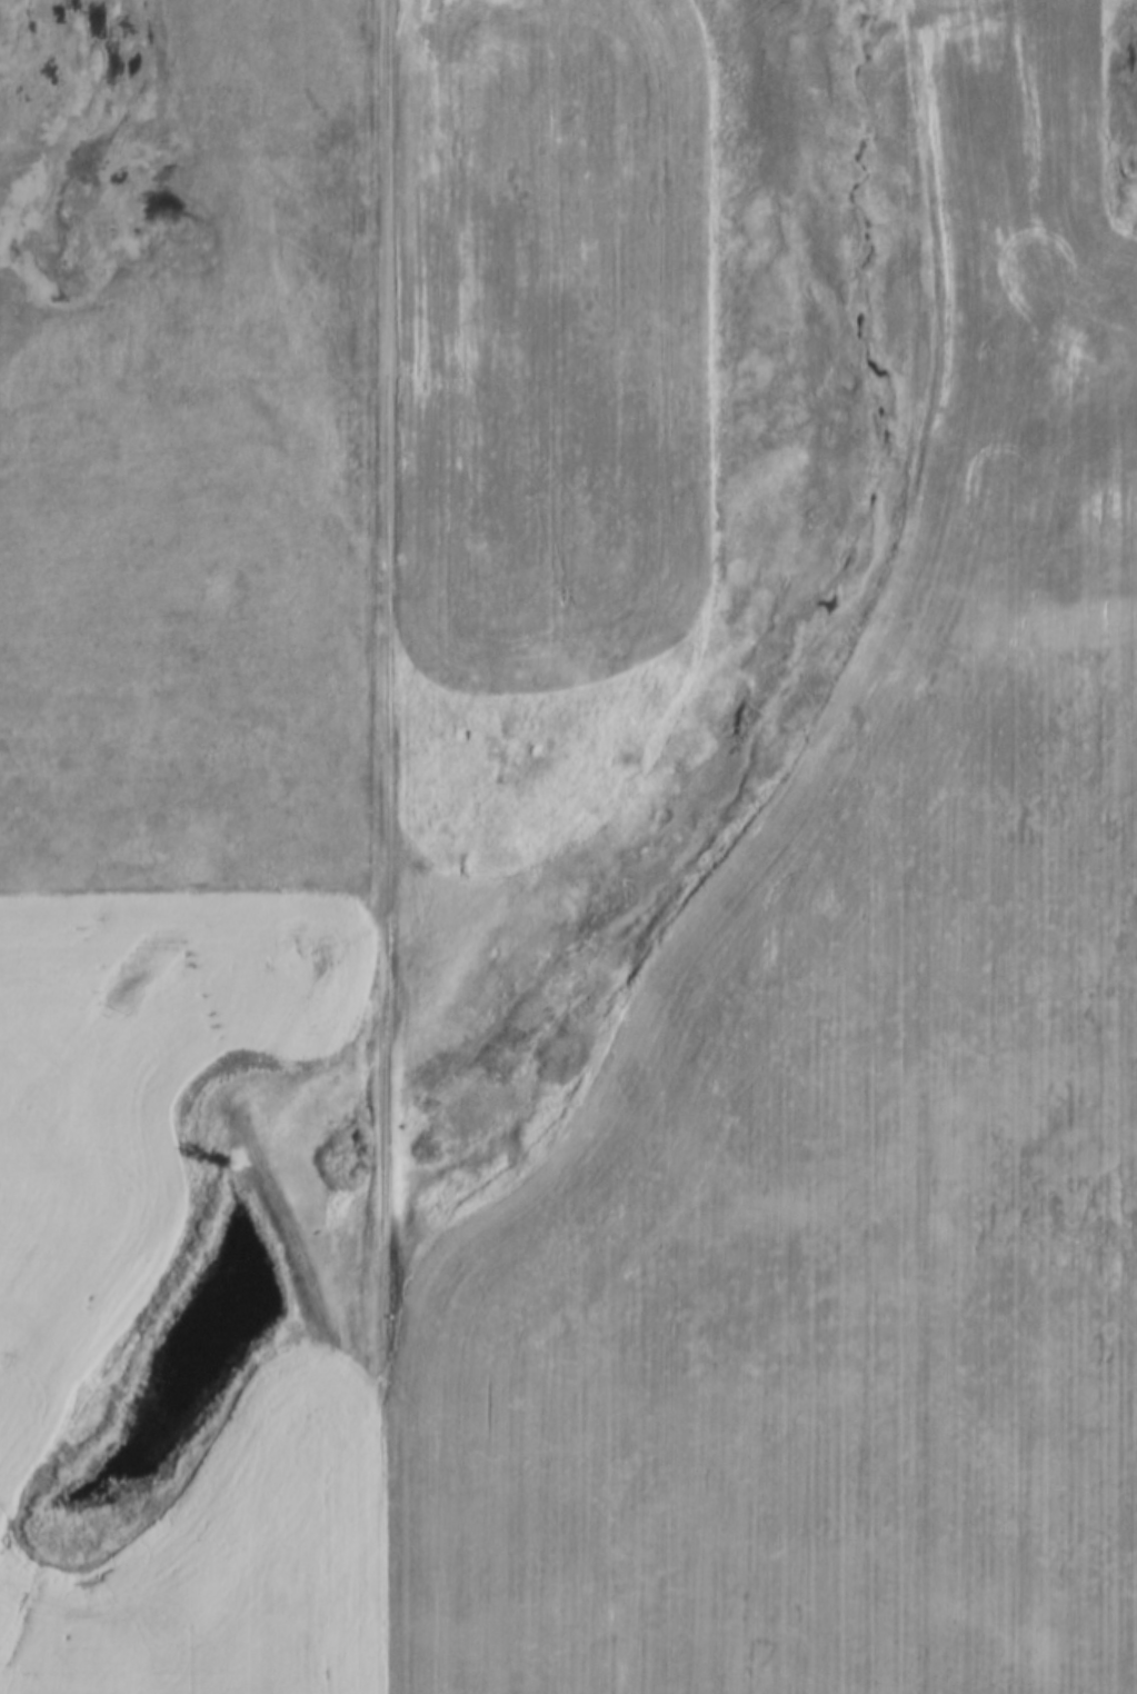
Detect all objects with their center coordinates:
road: (390, 846)

